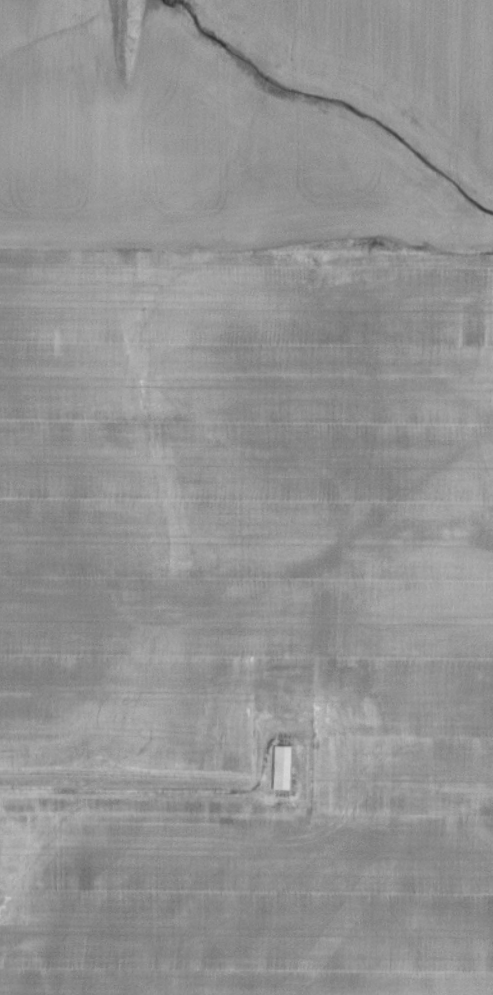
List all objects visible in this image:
building: (282, 769)

